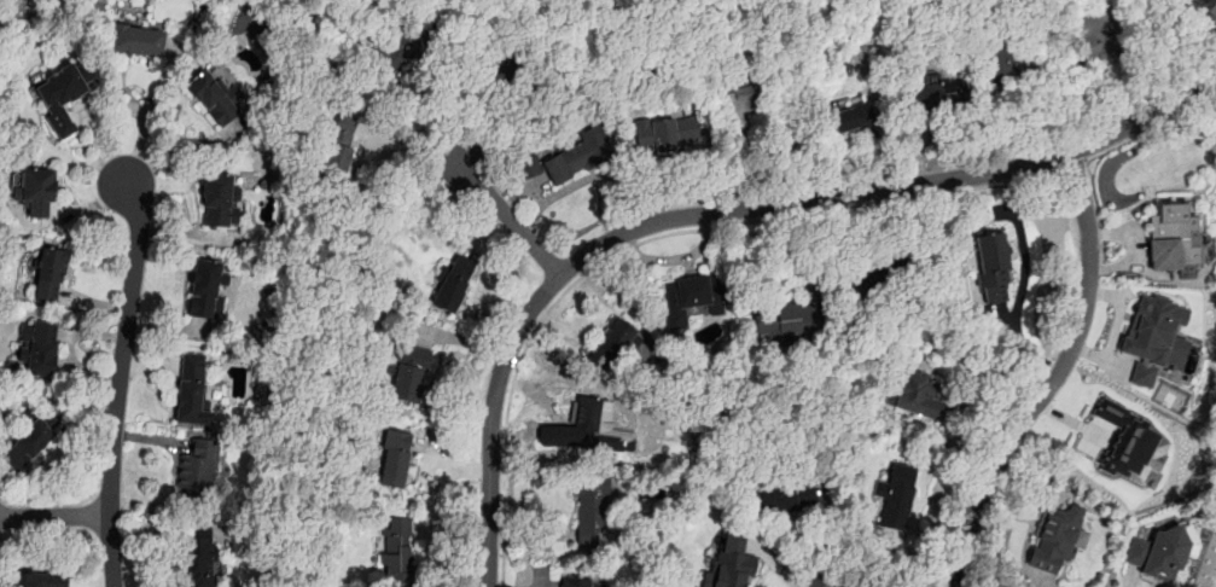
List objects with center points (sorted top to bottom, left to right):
building: (1095, 33)
building: (136, 39)
building: (402, 48)
building: (507, 60)
building: (999, 60)
building: (937, 92)
building: (60, 95)
building: (214, 97)
building: (741, 99)
building: (846, 117)
road: (146, 120)
road: (1152, 126)
building: (665, 133)
building: (341, 141)
building: (571, 156)
road: (1071, 164)
building: (35, 190)
building: (220, 199)
road: (728, 210)
road: (510, 219)
road: (652, 238)
building: (1173, 238)
building: (994, 268)
building: (879, 273)
building: (50, 274)
building: (455, 283)
building: (205, 287)
building: (688, 297)
building: (785, 320)
building: (1154, 337)
building: (612, 343)
building: (40, 348)
building: (407, 374)
road: (1053, 376)
road: (120, 379)
building: (191, 389)
building: (918, 394)
building: (587, 418)
building: (1129, 441)
building: (27, 444)
building: (1110, 444)
building: (395, 466)
building: (197, 470)
building: (897, 495)
building: (782, 500)
building: (592, 508)
road: (54, 515)
road: (175, 521)
road: (909, 527)
building: (1055, 535)
building: (396, 551)
building: (1159, 553)
building: (197, 554)
road: (889, 557)
building: (729, 564)
road: (831, 577)
building: (40, 579)
building: (590, 582)

